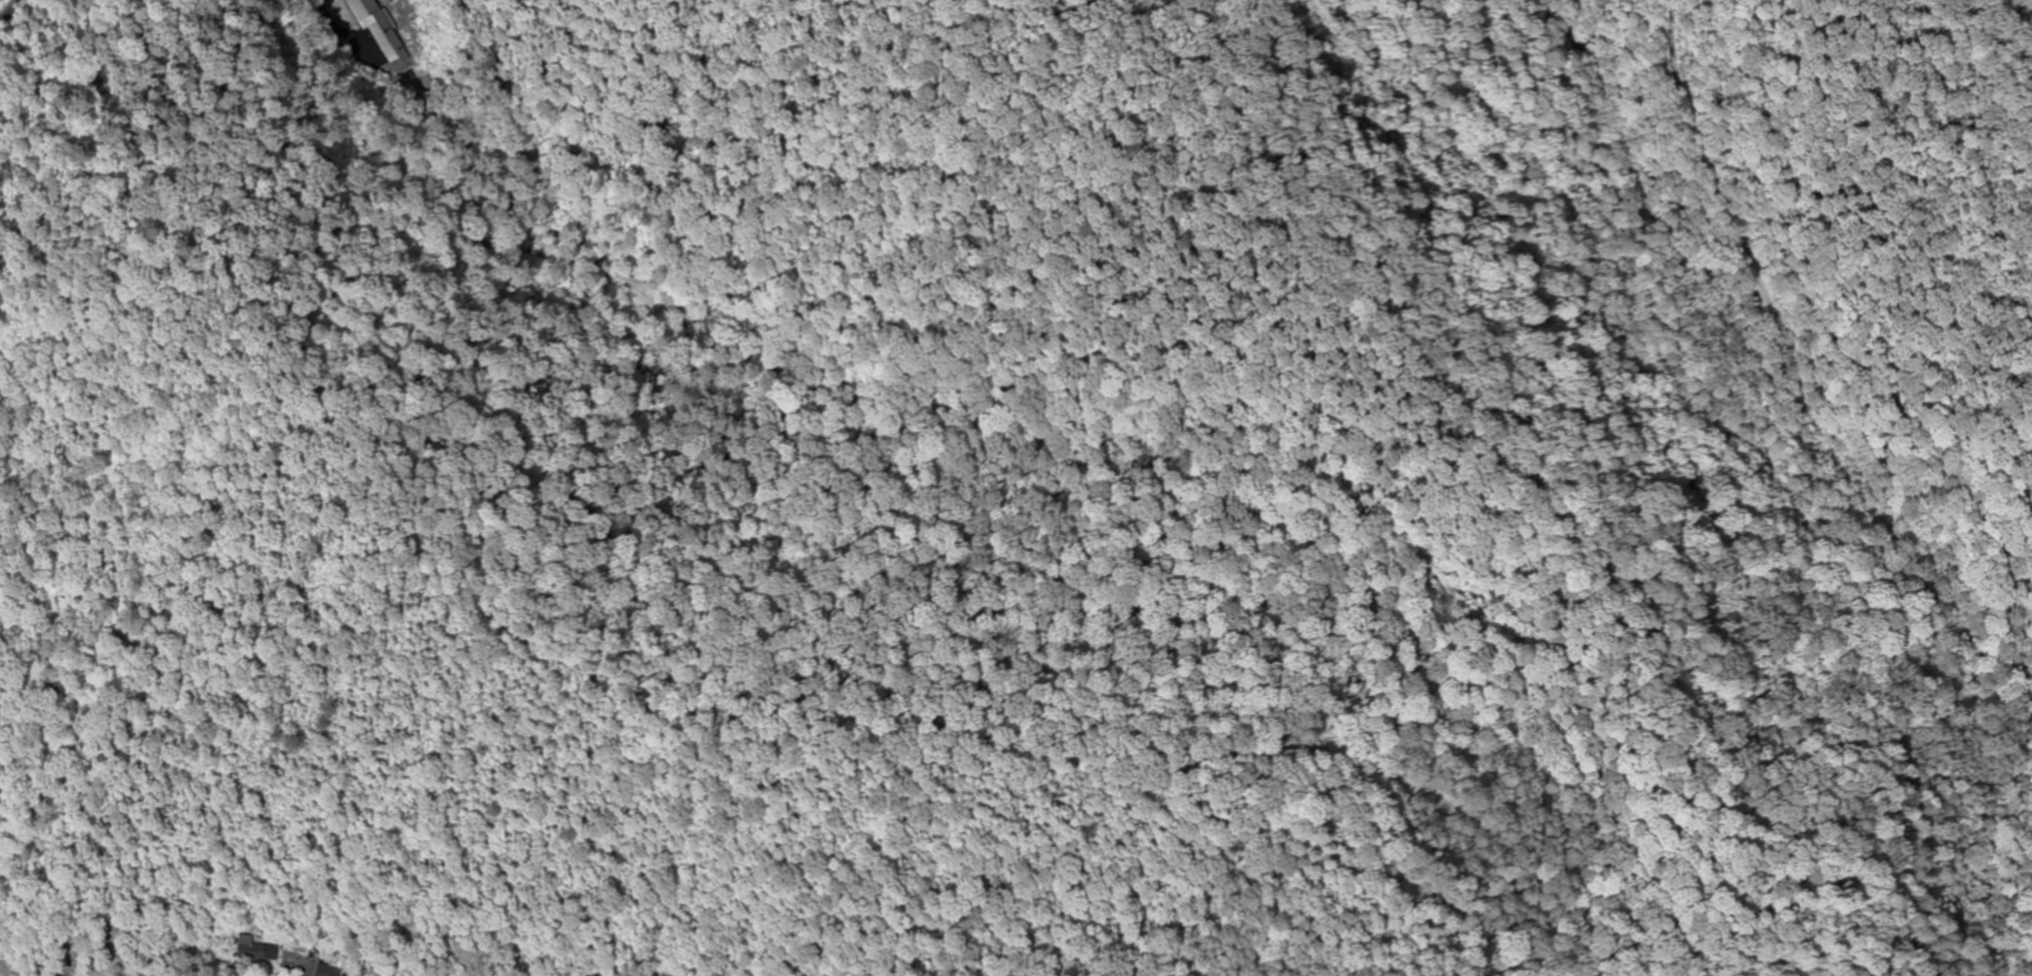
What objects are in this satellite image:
building: (254, 951)
building: (320, 971)

